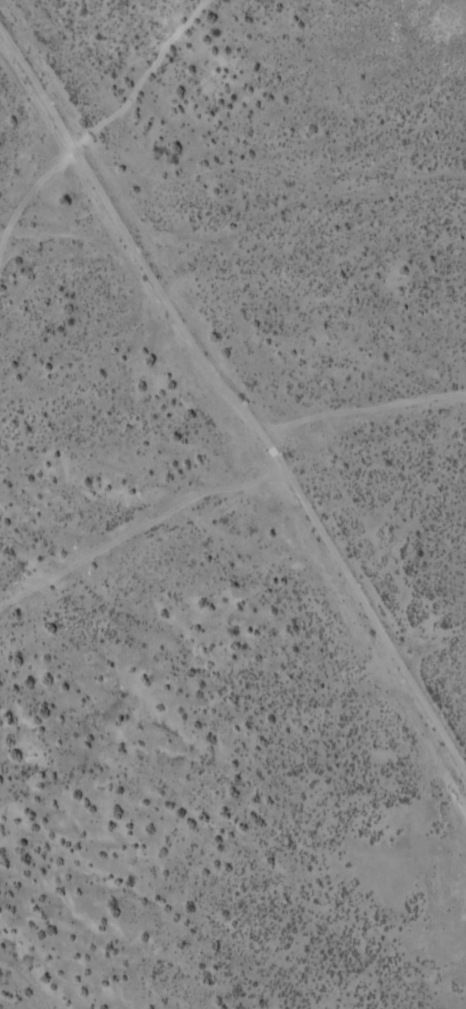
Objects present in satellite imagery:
road: (201, 258)
road: (231, 424)

